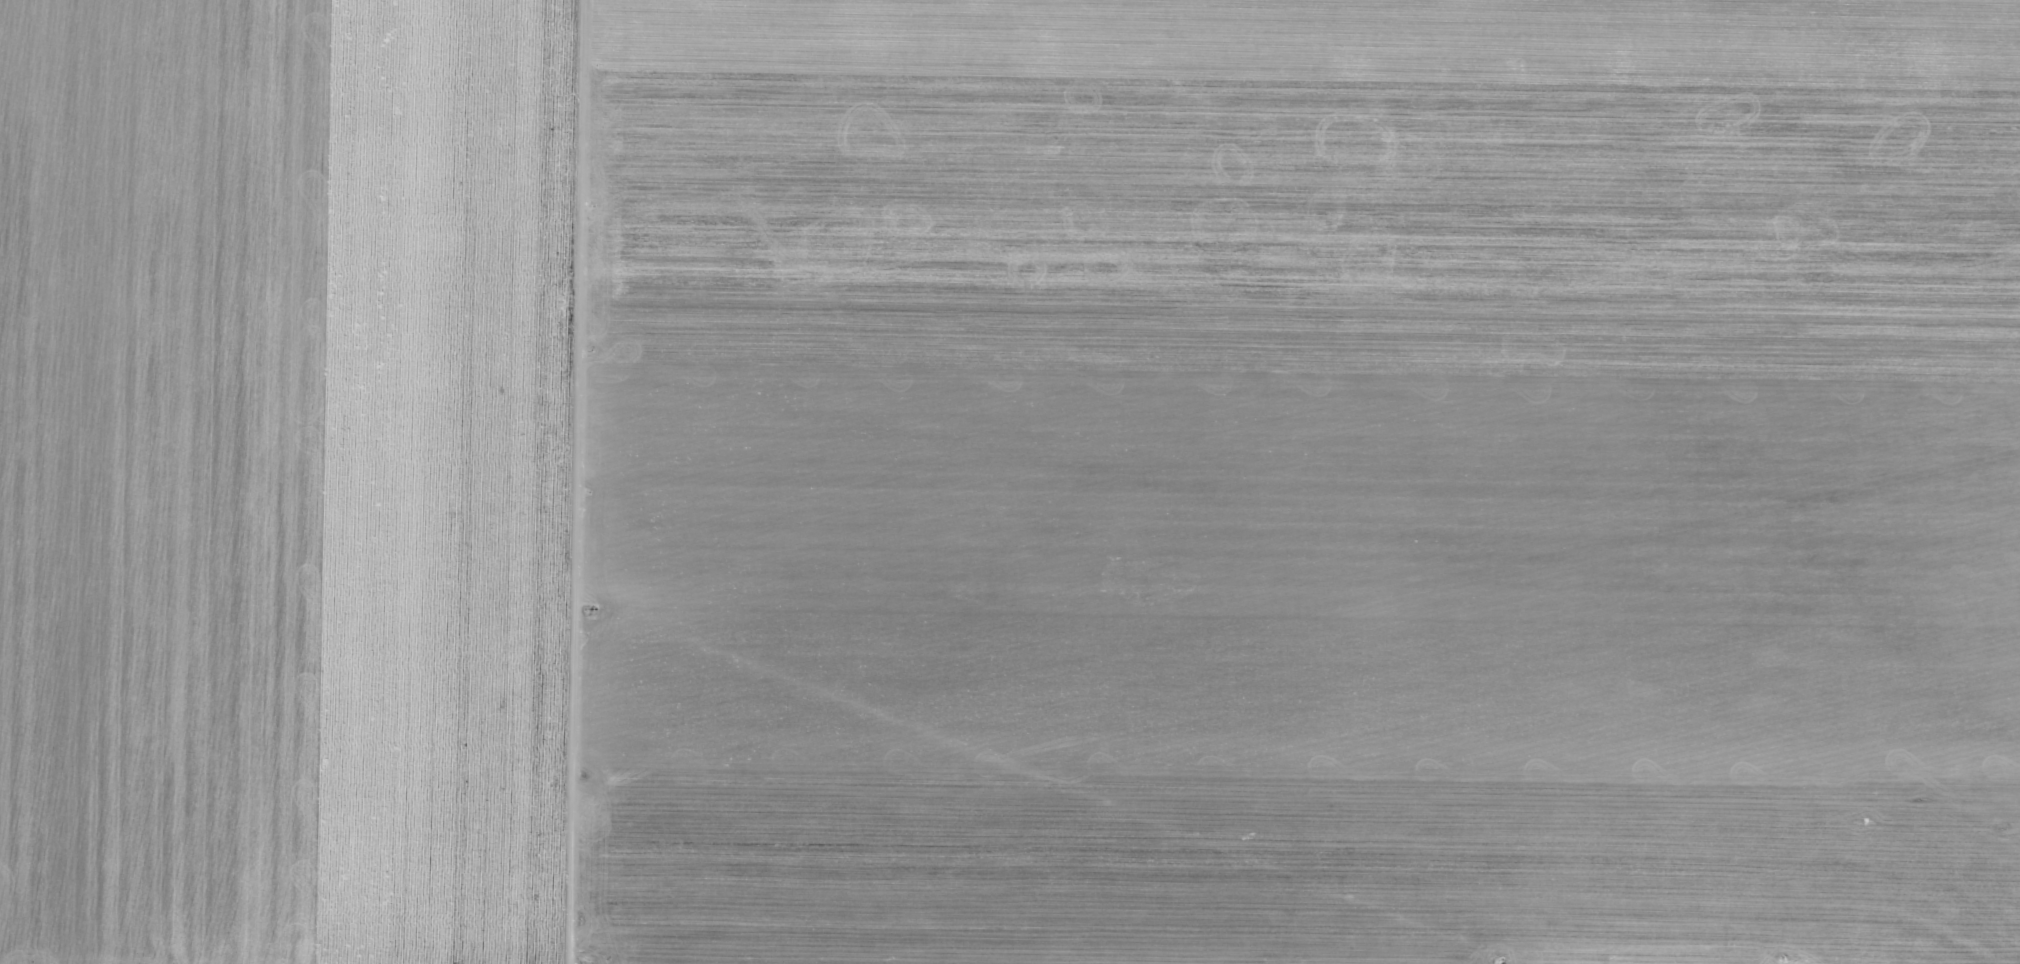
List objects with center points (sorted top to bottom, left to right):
road: (1763, 961)

